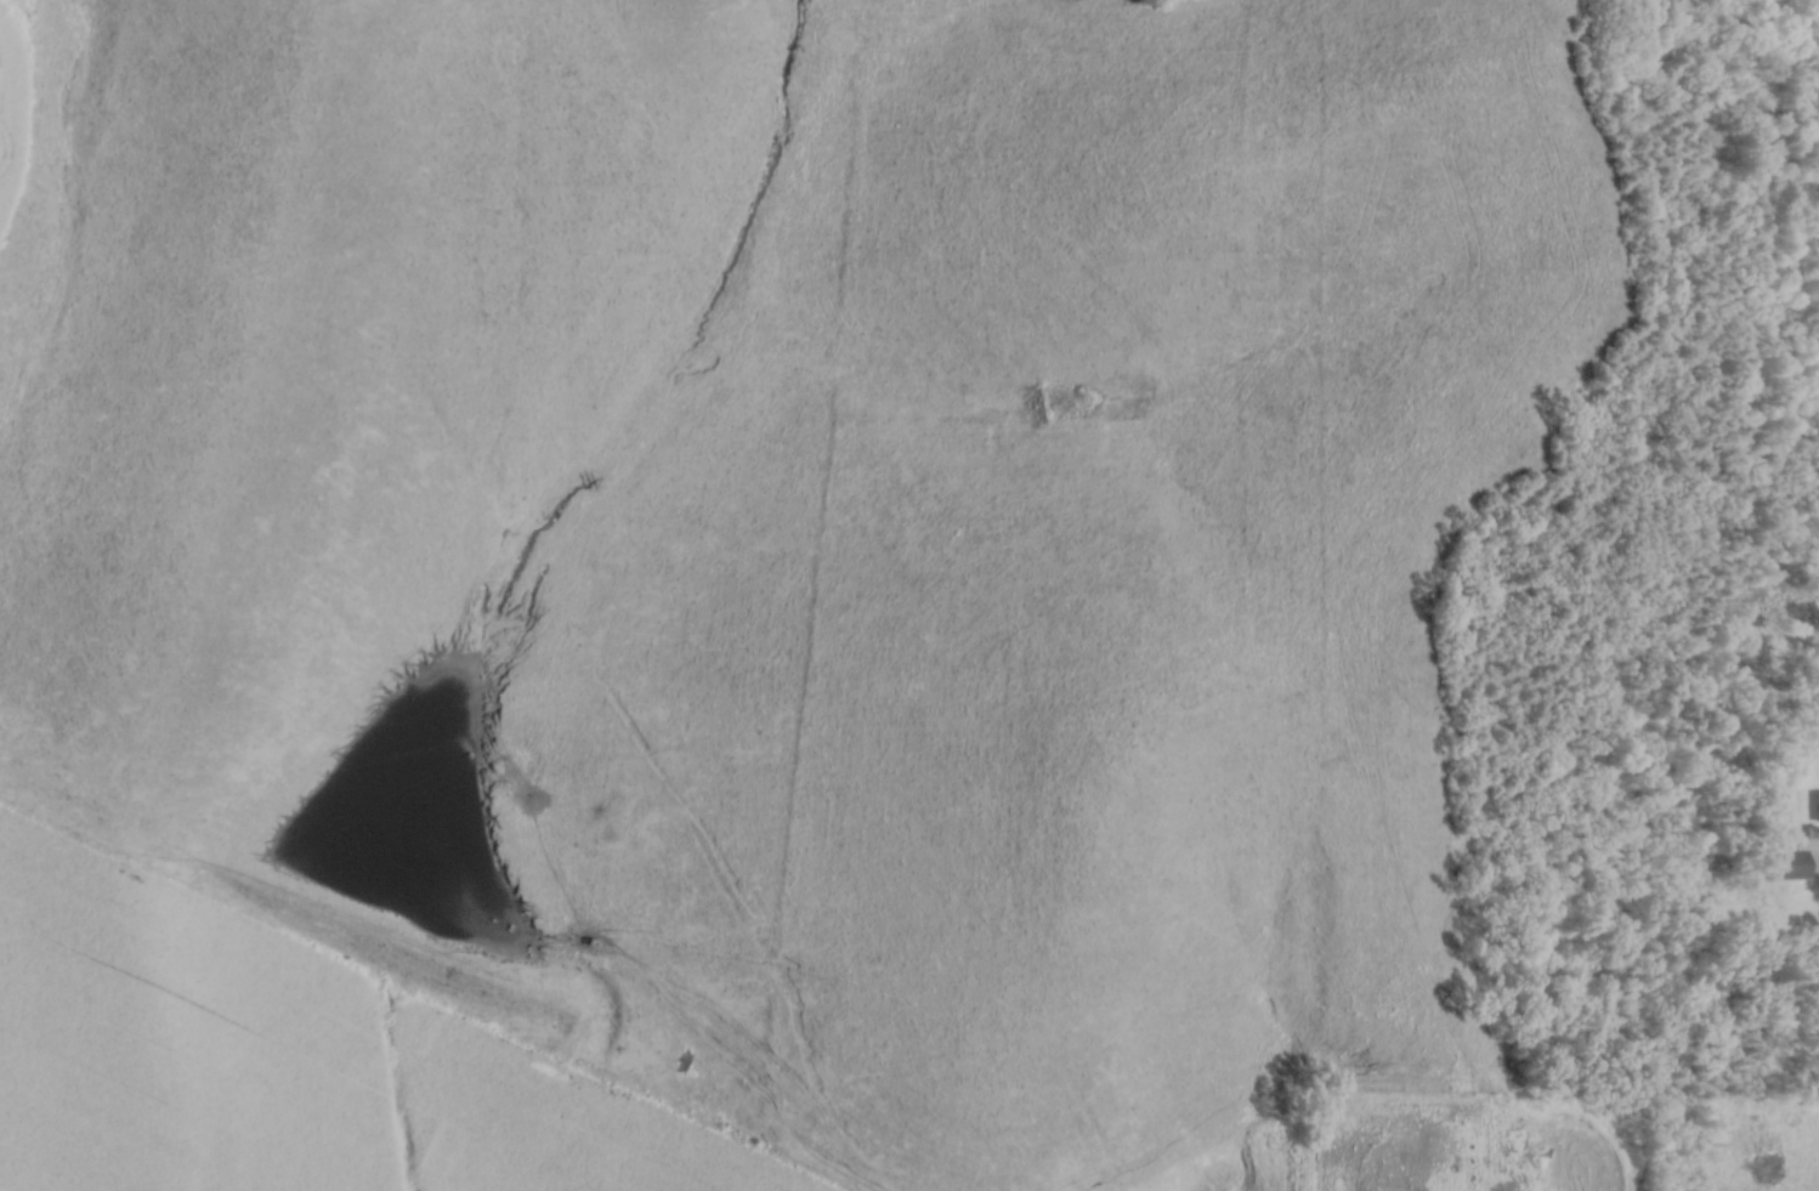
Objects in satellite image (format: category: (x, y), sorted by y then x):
building: (1818, 788)
building: (1789, 857)

